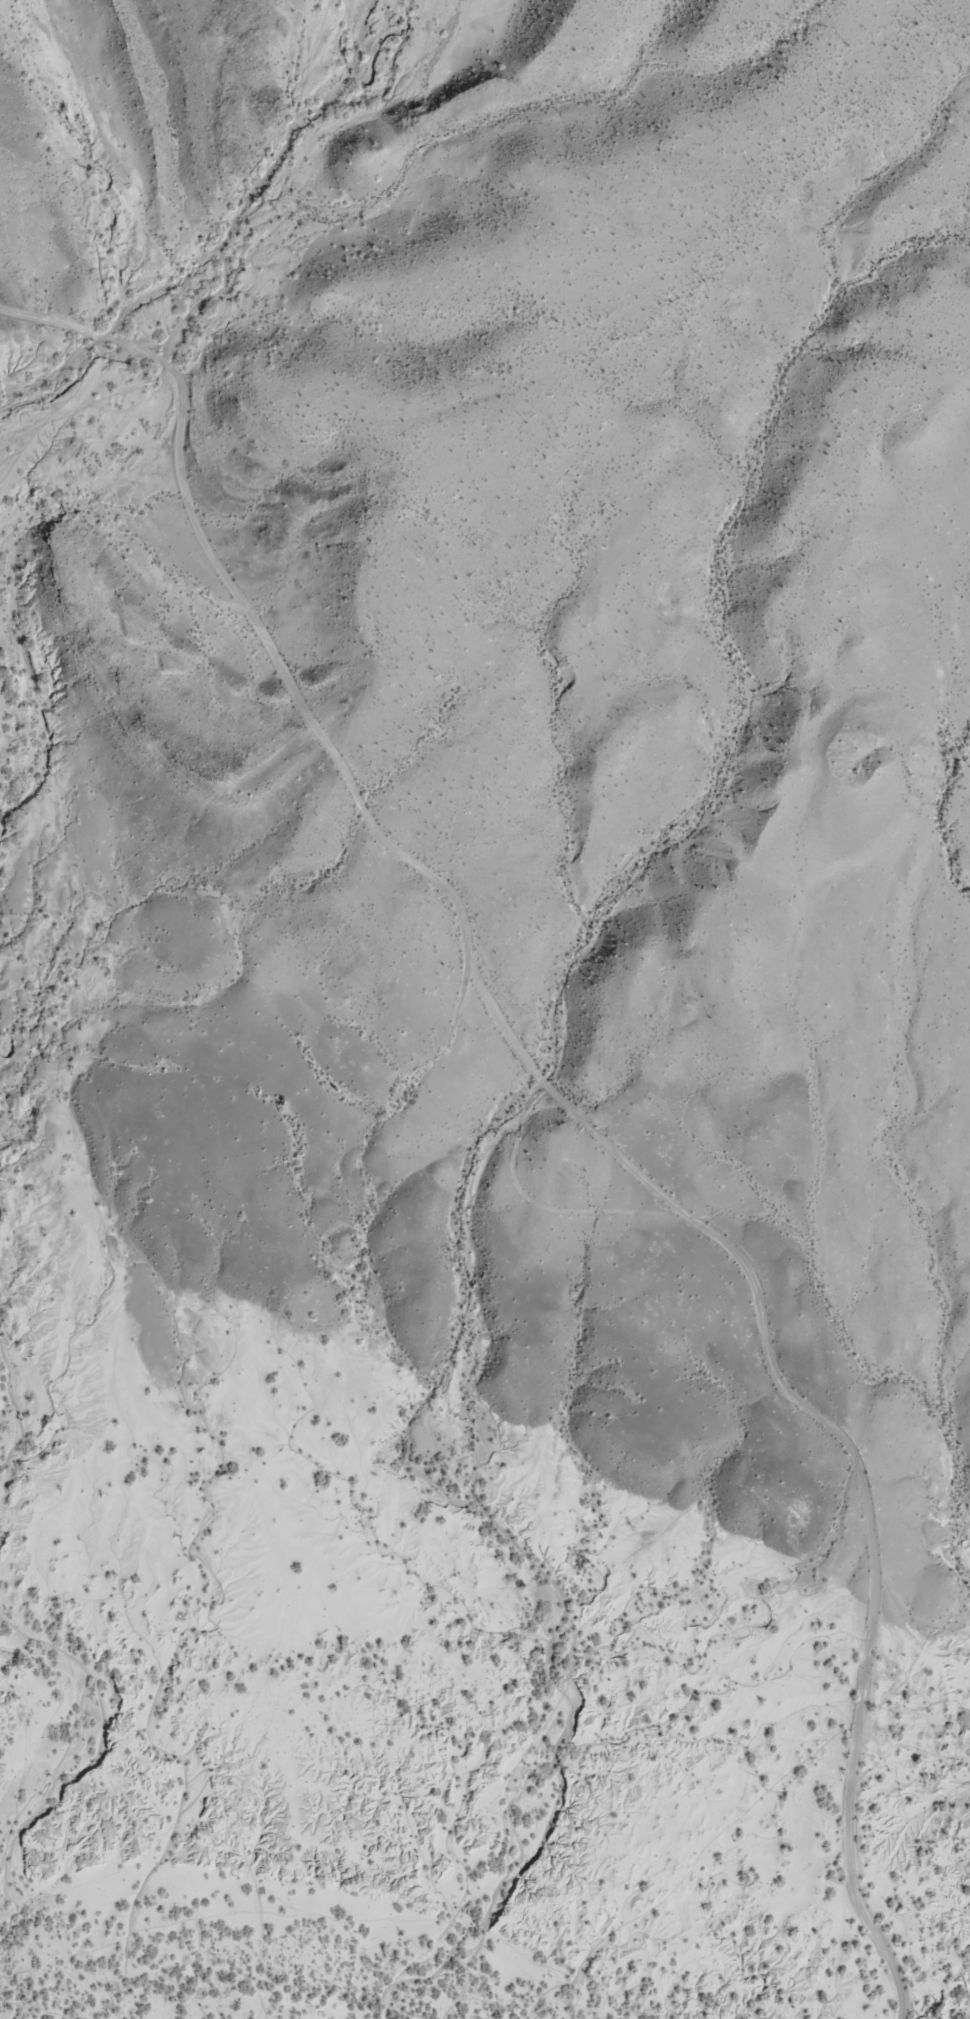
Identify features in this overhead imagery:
road: (571, 1100)

